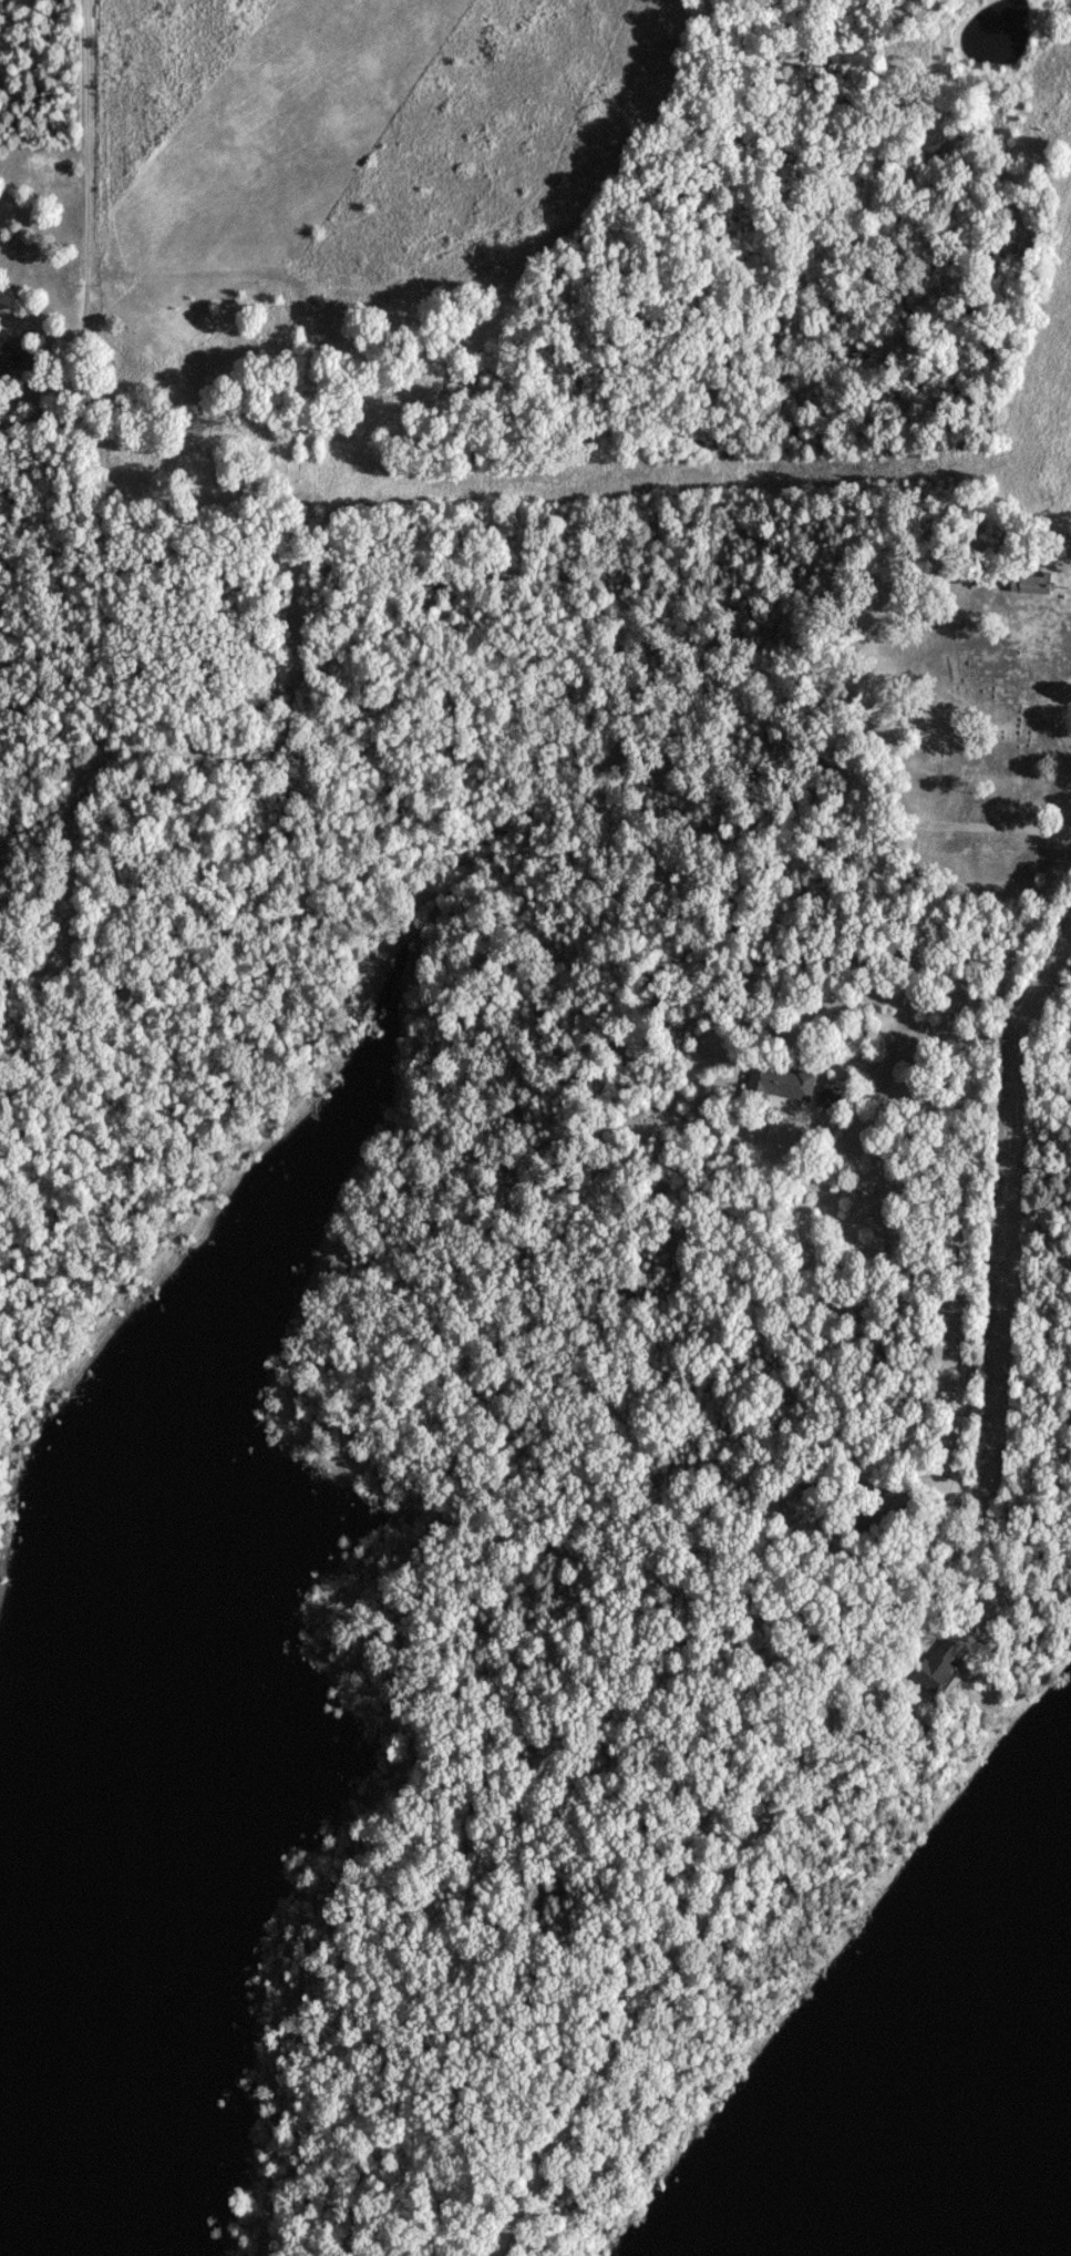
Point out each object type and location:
road: (84, 168)
building: (2, 356)
park: (974, 699)
road: (853, 998)
building: (785, 1083)
road: (904, 1594)

